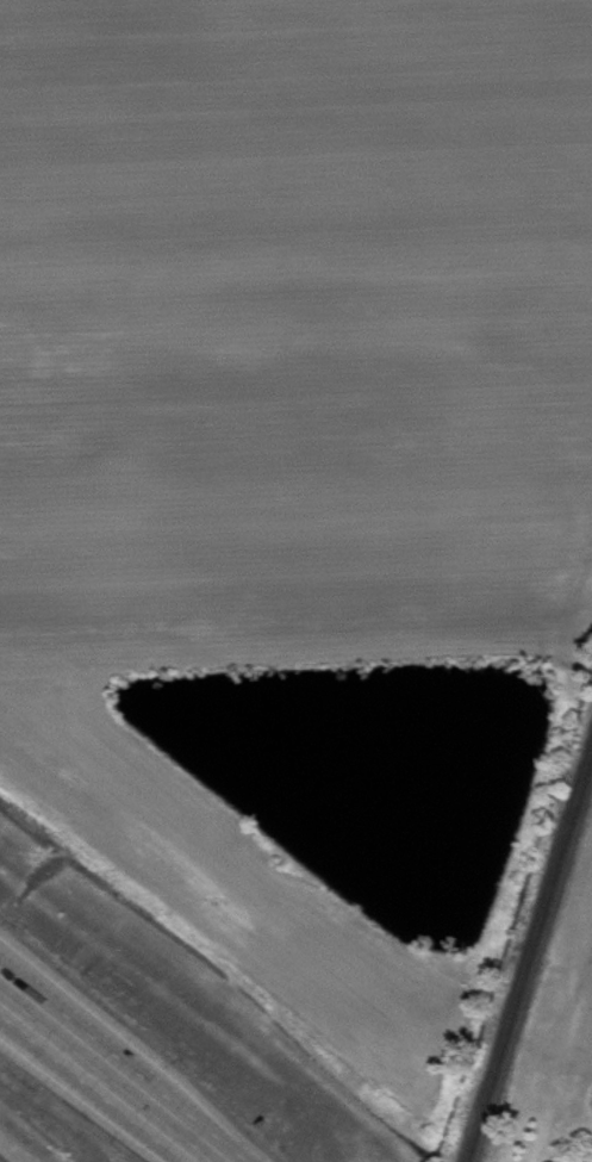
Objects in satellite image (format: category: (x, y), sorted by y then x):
crop: (293, 319)
railway: (530, 959)
road: (127, 1060)
road: (99, 1081)

